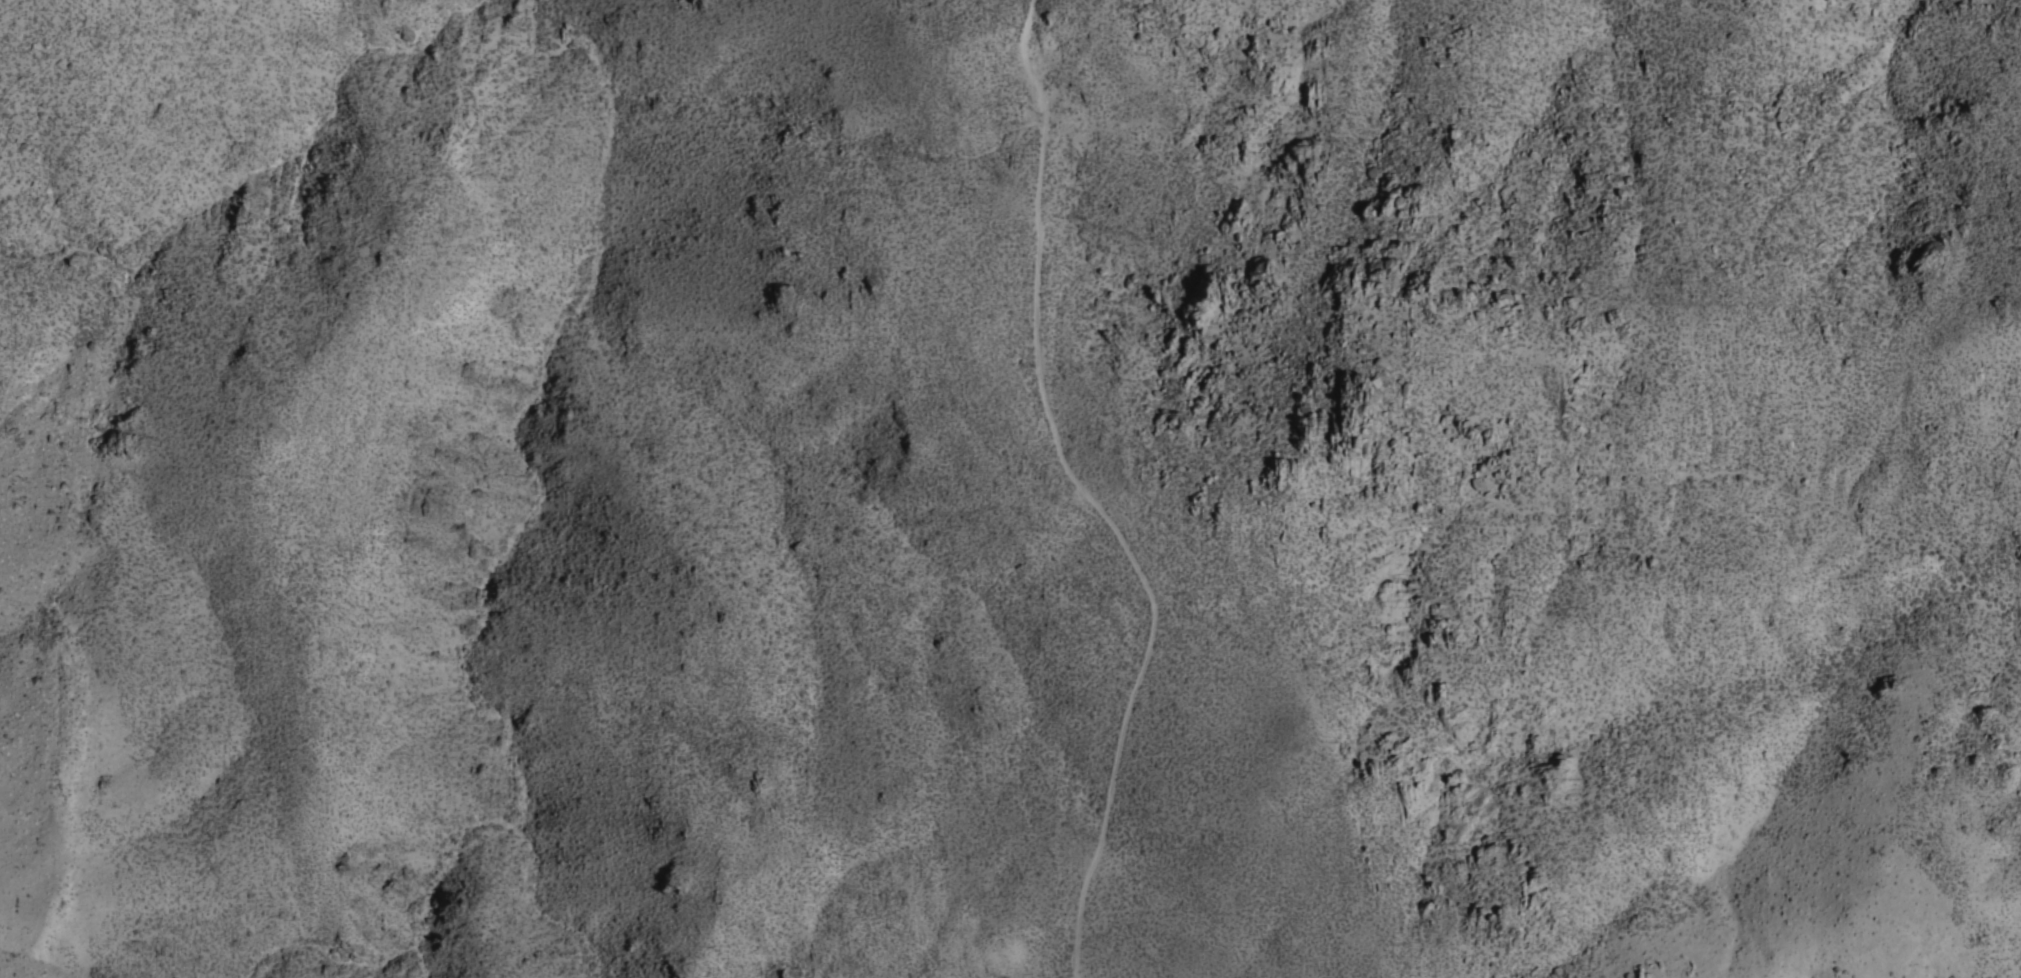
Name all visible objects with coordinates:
road: (1082, 493)

